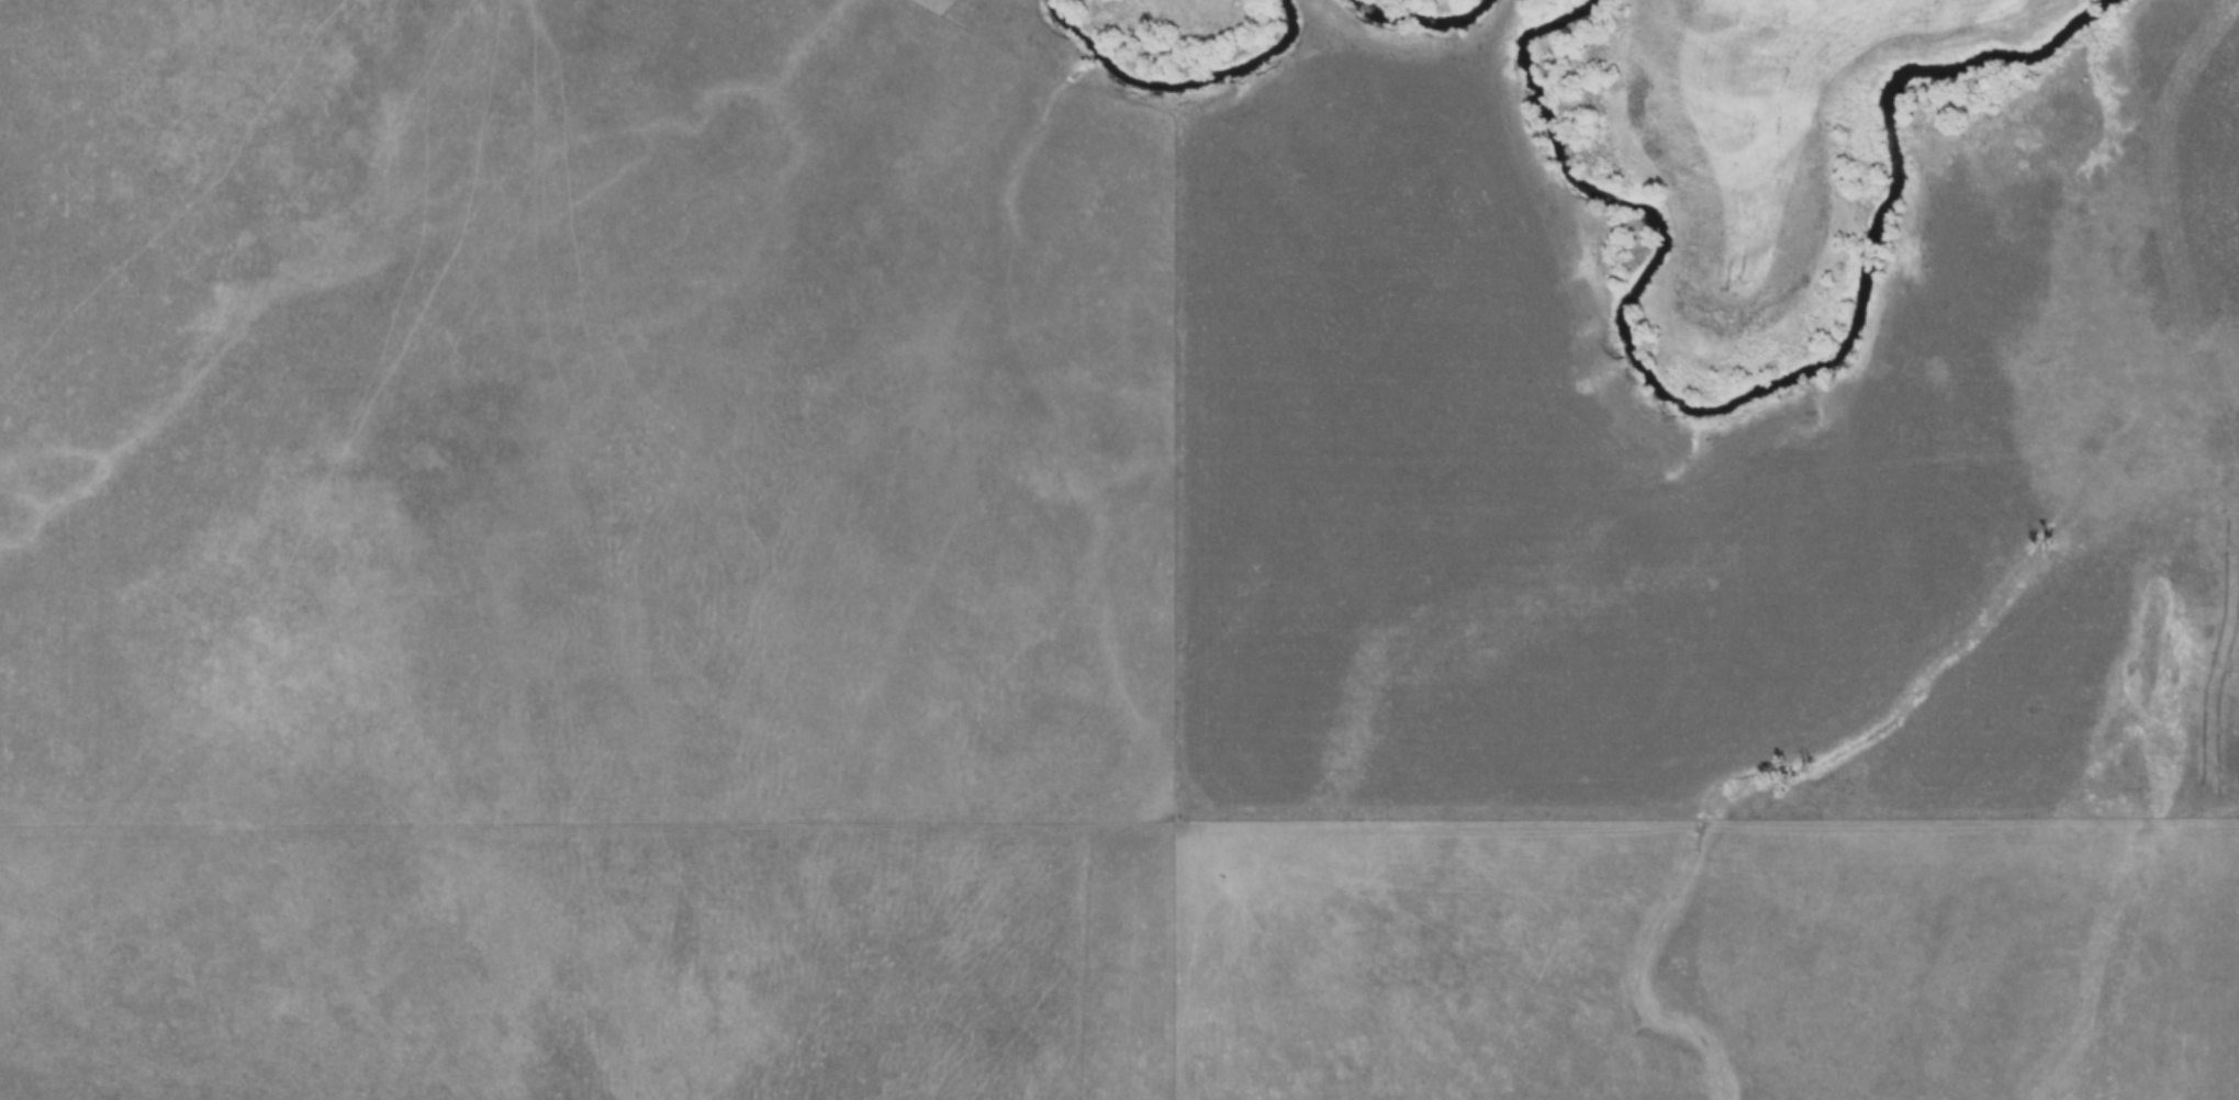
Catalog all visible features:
crop: (1759, 126)

